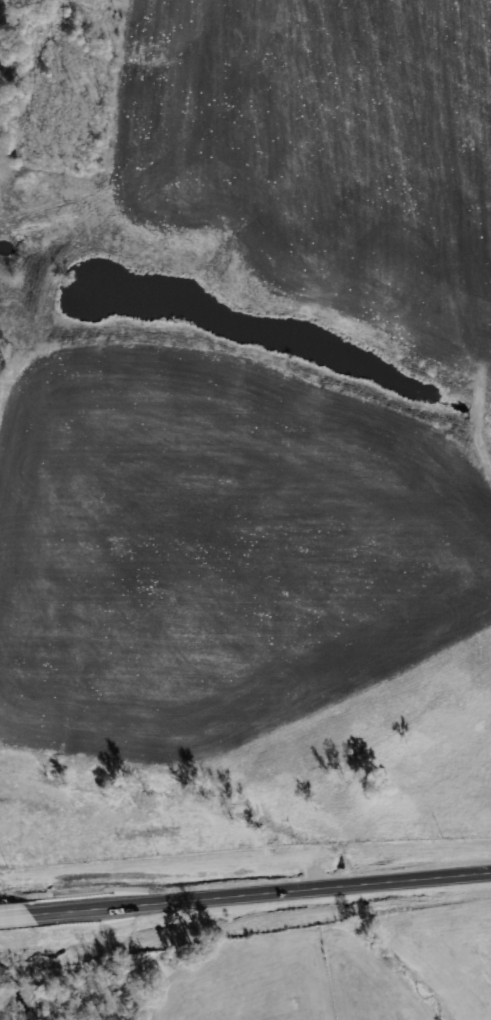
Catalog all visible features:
road: (245, 894)

